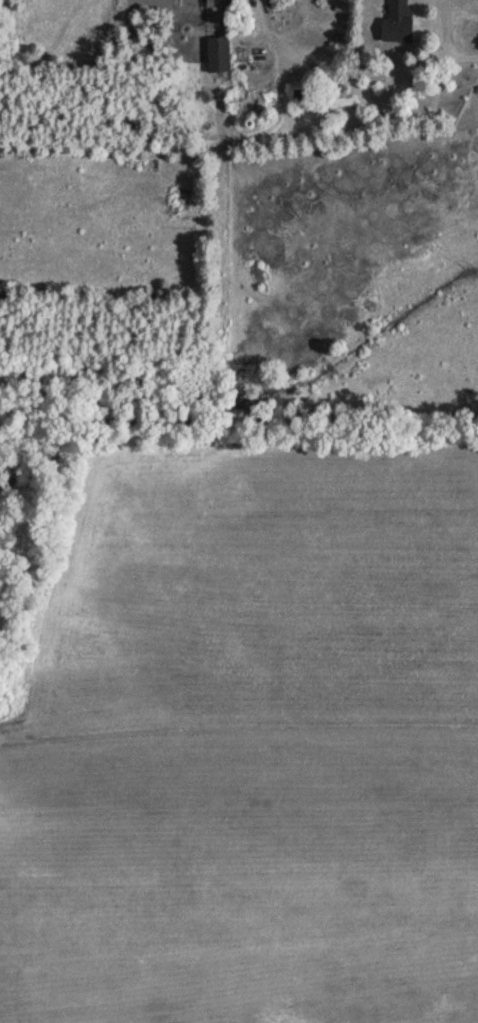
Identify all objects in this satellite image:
building: (401, 22)
road: (452, 29)
road: (283, 50)
building: (220, 55)
road: (407, 69)

